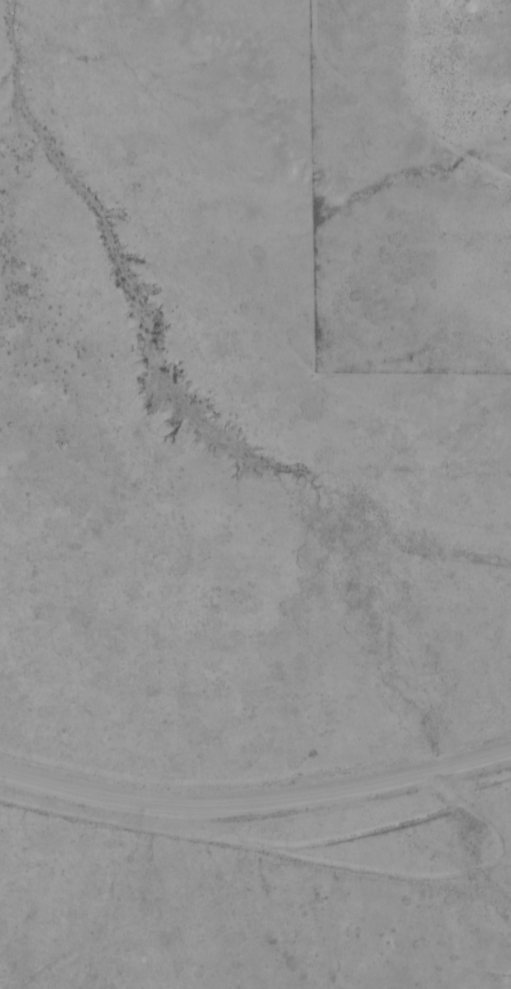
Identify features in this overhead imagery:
road: (257, 802)

